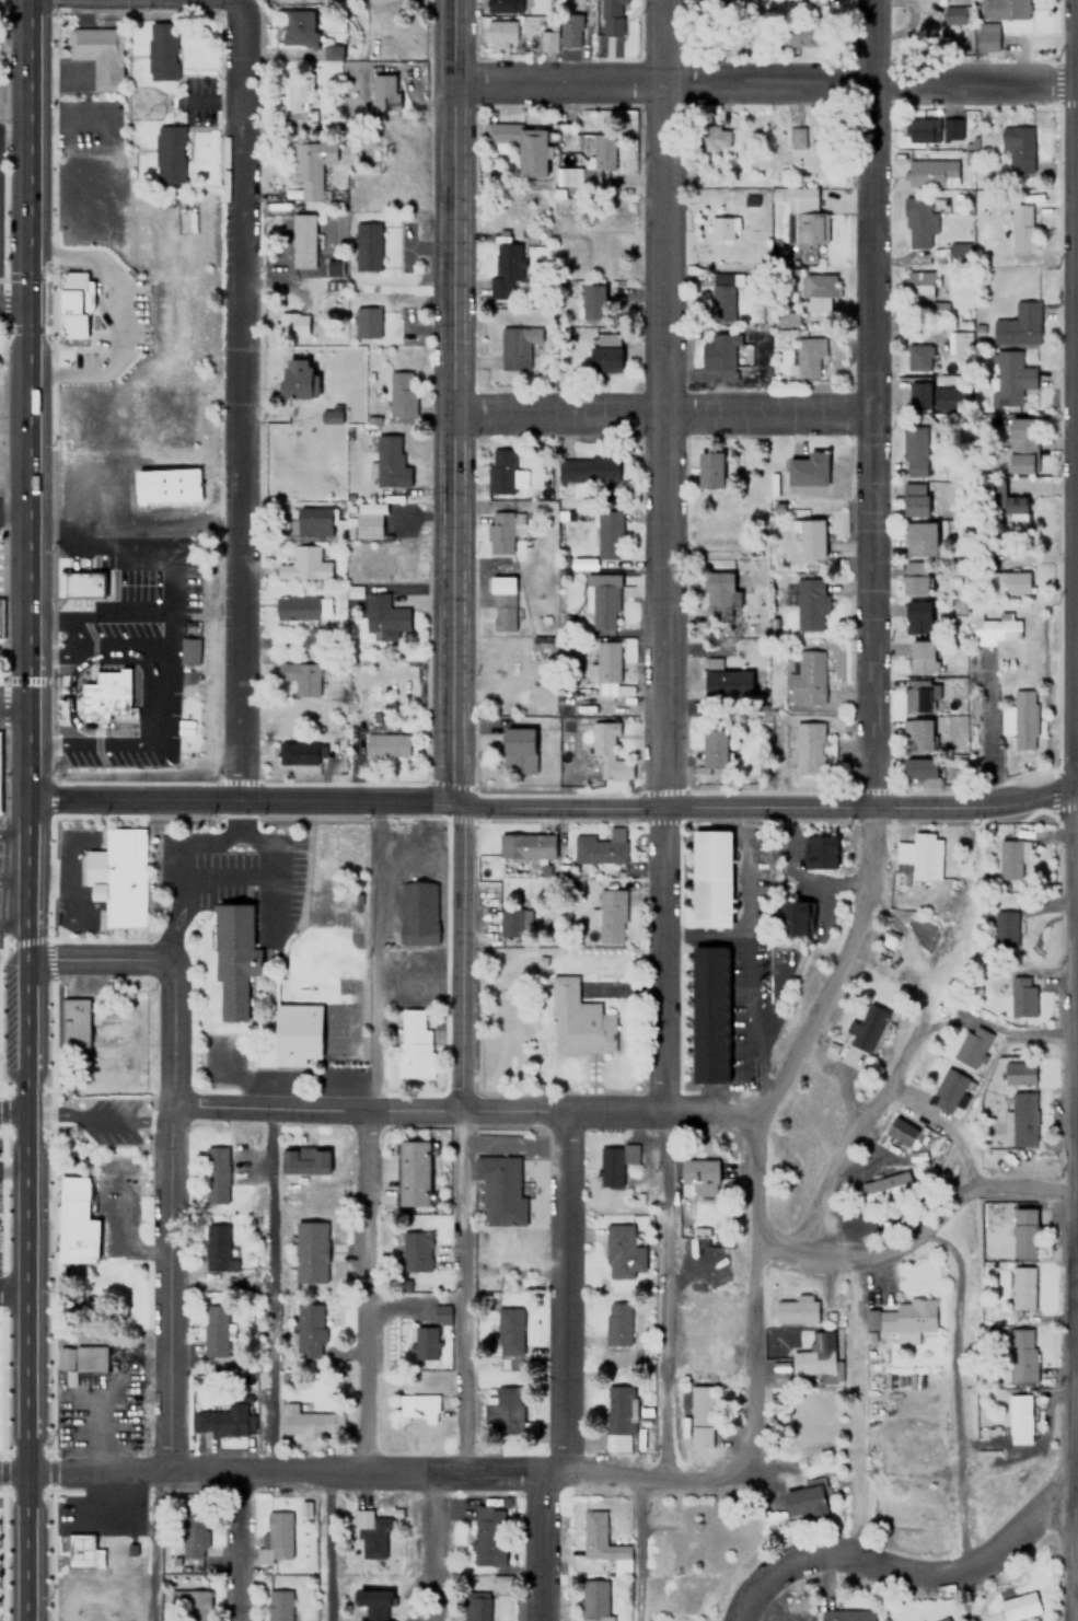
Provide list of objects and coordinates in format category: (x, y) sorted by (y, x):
road: (136, 2)
building: (717, 2)
building: (503, 5)
building: (814, 8)
building: (1002, 9)
building: (607, 15)
building: (955, 15)
building: (300, 25)
building: (569, 31)
building: (501, 33)
building: (807, 36)
building: (985, 36)
building: (543, 40)
building: (162, 49)
building: (335, 51)
building: (96, 54)
road: (762, 86)
building: (298, 91)
building: (384, 91)
building: (498, 126)
building: (919, 130)
building: (943, 130)
building: (822, 132)
road: (1076, 132)
building: (715, 137)
building: (793, 137)
building: (603, 149)
building: (1015, 150)
building: (532, 151)
building: (170, 153)
building: (309, 165)
building: (930, 173)
building: (800, 213)
building: (916, 219)
building: (1020, 227)
building: (720, 232)
building: (305, 241)
building: (368, 243)
building: (957, 252)
building: (335, 267)
building: (506, 269)
building: (918, 285)
building: (816, 292)
building: (593, 301)
building: (721, 301)
road: (13, 302)
building: (74, 302)
building: (937, 308)
building: (367, 322)
building: (291, 324)
building: (1017, 324)
road: (1076, 328)
building: (957, 341)
building: (518, 345)
building: (605, 354)
building: (719, 354)
building: (808, 355)
building: (917, 357)
building: (1008, 378)
building: (298, 381)
building: (401, 393)
building: (937, 396)
road: (27, 398)
road: (240, 401)
road: (450, 401)
road: (872, 402)
road: (660, 413)
building: (331, 416)
road: (1077, 444)
building: (1020, 445)
building: (914, 450)
building: (389, 462)
building: (588, 468)
building: (500, 470)
building: (710, 470)
building: (808, 470)
building: (166, 485)
building: (916, 499)
building: (1005, 505)
road: (13, 506)
building: (313, 521)
building: (369, 521)
building: (501, 530)
building: (607, 533)
building: (810, 537)
building: (920, 537)
road: (665, 556)
building: (303, 565)
building: (915, 577)
building: (83, 583)
building: (1005, 583)
building: (720, 598)
building: (602, 600)
building: (502, 602)
building: (809, 602)
building: (301, 607)
building: (384, 614)
building: (919, 617)
building: (0, 618)
building: (995, 628)
building: (306, 637)
building: (546, 644)
building: (187, 651)
building: (921, 657)
building: (606, 665)
building: (299, 676)
building: (805, 678)
building: (727, 682)
building: (105, 694)
building: (917, 696)
road: (12, 709)
building: (1020, 720)
building: (916, 736)
building: (385, 745)
building: (808, 748)
building: (715, 749)
building: (519, 750)
building: (607, 751)
building: (297, 753)
building: (919, 768)
road: (553, 806)
road: (1074, 810)
road: (12, 833)
building: (525, 846)
building: (599, 848)
building: (814, 854)
building: (920, 855)
building: (1009, 859)
building: (118, 877)
road: (12, 879)
building: (711, 879)
building: (417, 913)
building: (610, 916)
building: (795, 918)
building: (510, 922)
road: (12, 924)
building: (1004, 927)
road: (24, 954)
building: (233, 956)
road: (461, 956)
road: (95, 959)
road: (833, 965)
building: (1022, 995)
building: (711, 1015)
building: (578, 1019)
building: (72, 1022)
building: (867, 1028)
building: (297, 1033)
building: (413, 1044)
building: (971, 1045)
building: (1019, 1072)
building: (946, 1088)
road: (462, 1111)
road: (11, 1112)
road: (95, 1119)
building: (1020, 1120)
building: (901, 1131)
building: (303, 1159)
building: (614, 1160)
building: (412, 1172)
building: (213, 1173)
building: (698, 1177)
building: (884, 1186)
building: (500, 1189)
road: (169, 1214)
building: (76, 1221)
building: (1023, 1231)
road: (921, 1235)
building: (216, 1247)
building: (310, 1250)
building: (415, 1251)
building: (621, 1251)
building: (1021, 1287)
road: (266, 1288)
road: (364, 1288)
road: (462, 1290)
road: (21, 1295)
road: (755, 1296)
building: (795, 1308)
building: (906, 1318)
building: (617, 1322)
building: (308, 1329)
building: (509, 1330)
building: (213, 1333)
building: (425, 1341)
building: (814, 1354)
building: (1020, 1354)
building: (79, 1357)
road: (564, 1369)
road: (963, 1381)
building: (417, 1405)
building: (619, 1405)
building: (505, 1410)
building: (699, 1415)
building: (1017, 1417)
building: (222, 1420)
building: (310, 1421)
building: (616, 1440)
road: (379, 1468)
road: (11, 1478)
building: (807, 1502)
building: (369, 1532)
building: (193, 1533)
building: (488, 1535)
building: (274, 1539)
building: (602, 1542)
road: (154, 1544)
road: (329, 1544)
road: (433, 1545)
road: (242, 1547)
road: (22, 1550)
building: (82, 1551)
park: (1, 1556)
road: (906, 1575)
building: (499, 1583)
building: (594, 1600)
building: (187, 1602)
building: (374, 1603)
building: (277, 1605)
building: (1021, 1607)
building: (476, 1608)
building: (847, 1616)
building: (944, 1619)
building: (949, 1619)

